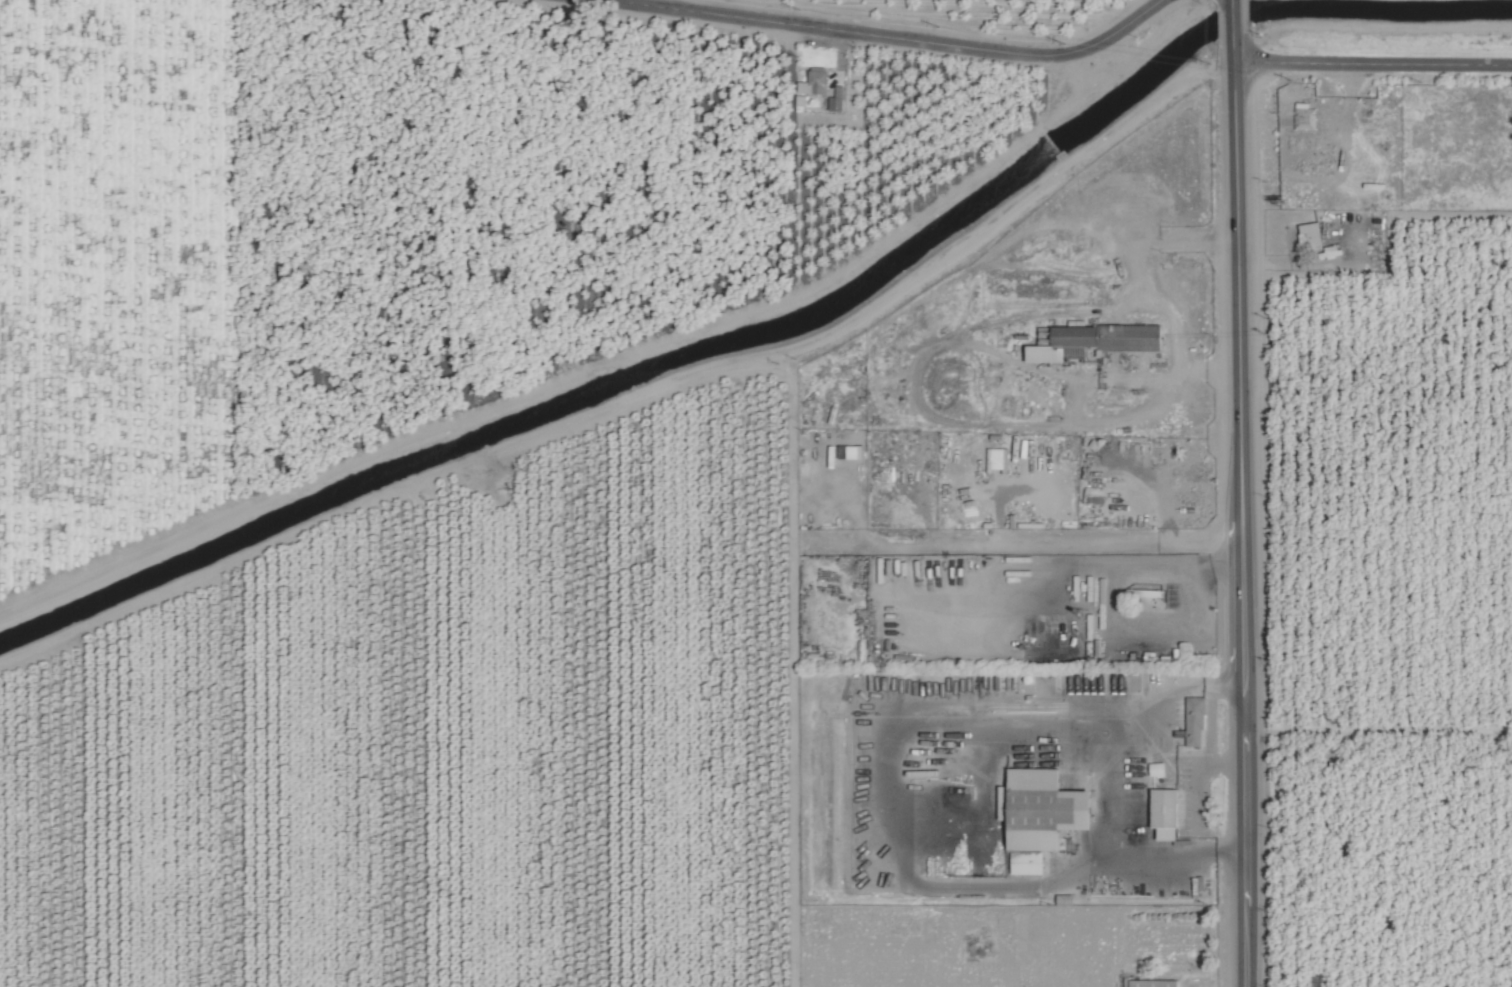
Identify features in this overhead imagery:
road: (1230, 2)
road: (652, 6)
road: (1231, 19)
road: (823, 27)
road: (1060, 53)
road: (1371, 63)
building: (814, 81)
building: (836, 99)
building: (1304, 116)
building: (1311, 235)
road: (1137, 271)
building: (1093, 342)
building: (1035, 390)
road: (1106, 421)
building: (998, 460)
crop: (756, 493)
road: (1242, 509)
building: (1194, 722)
road: (1212, 724)
road: (1181, 765)
road: (1116, 785)
building: (1043, 809)
building: (1165, 814)
building: (1026, 864)
building: (1152, 983)

